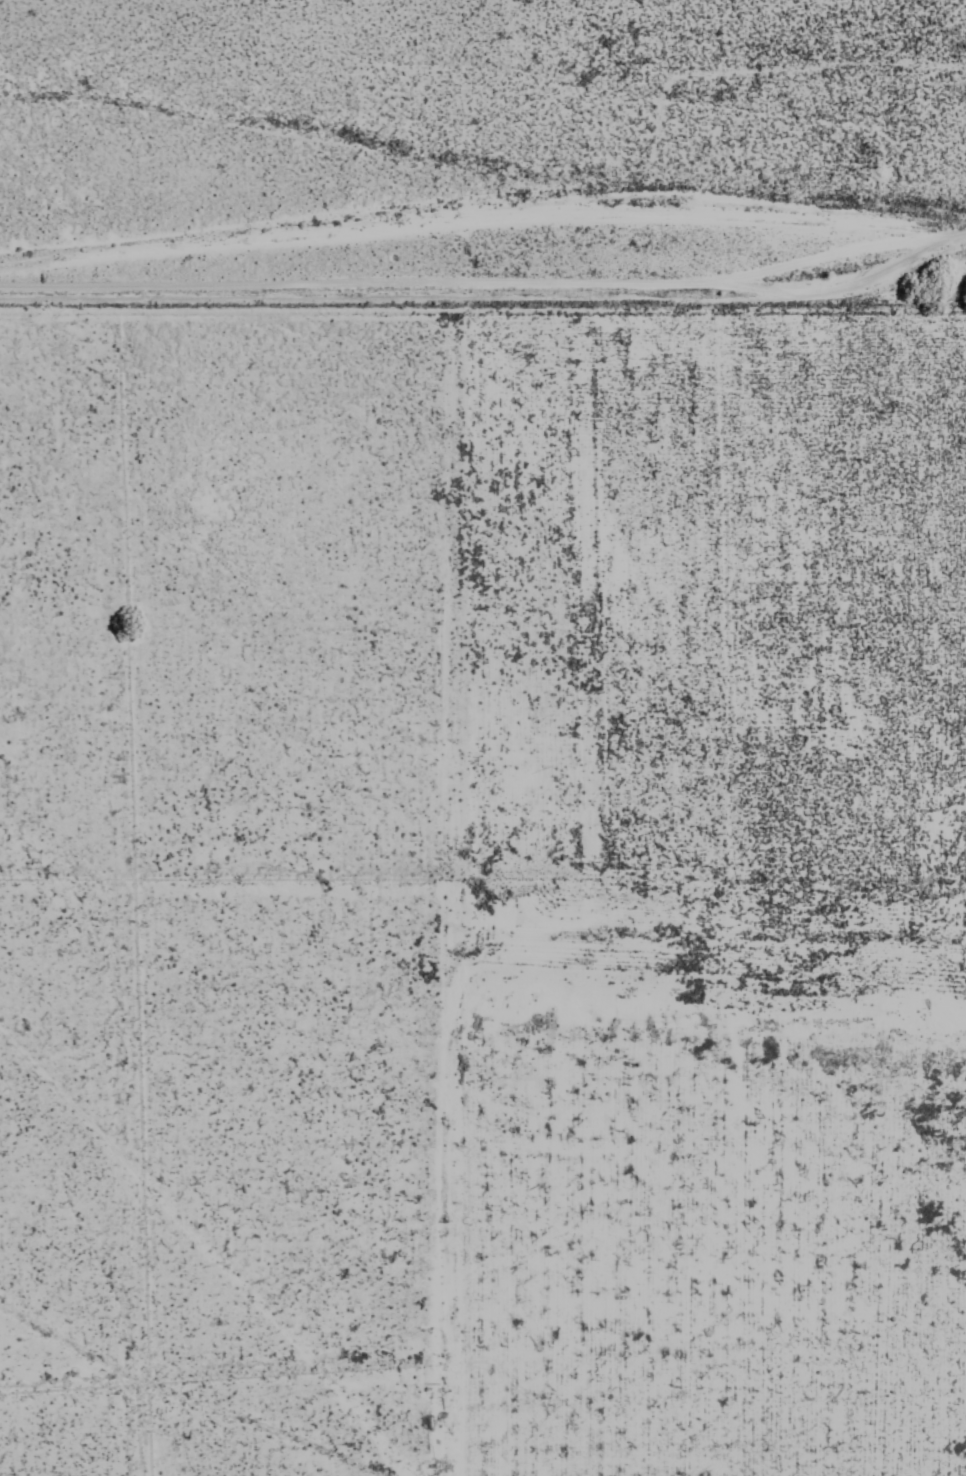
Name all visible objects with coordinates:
road: (487, 284)

